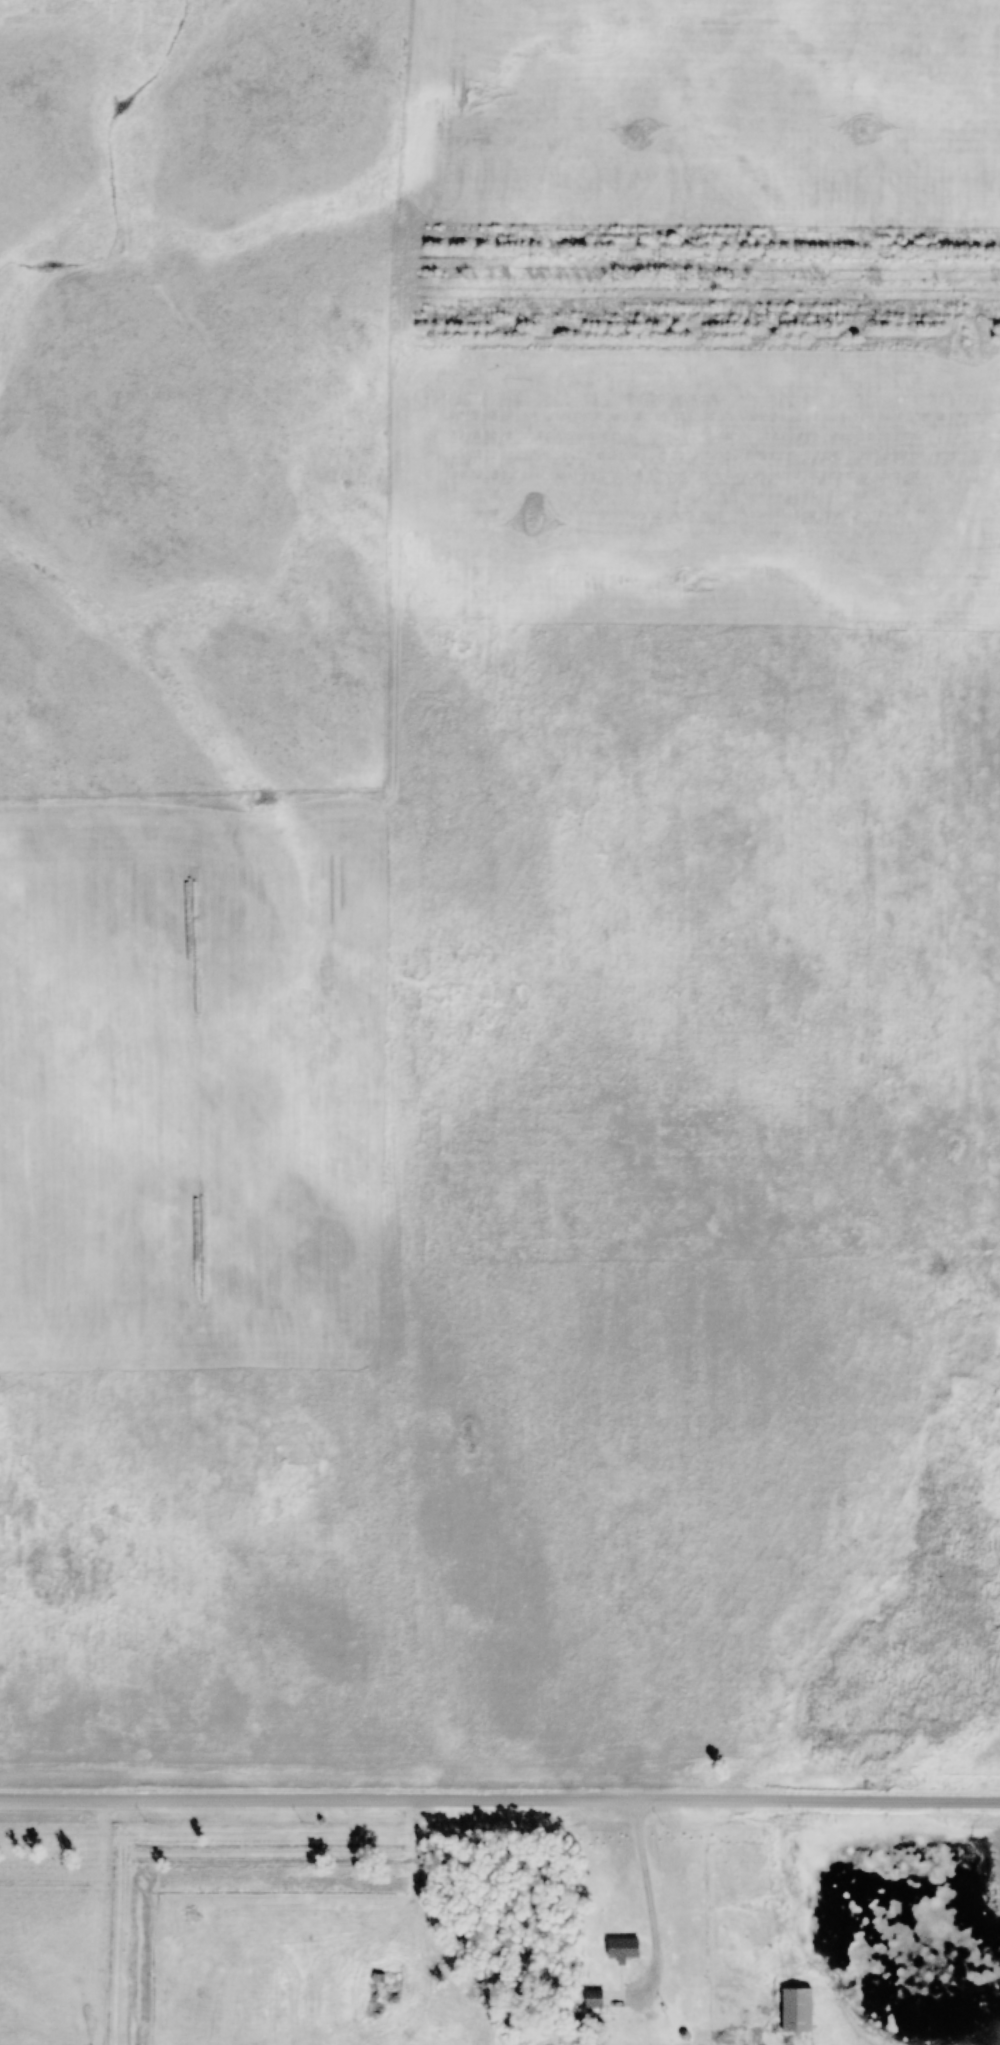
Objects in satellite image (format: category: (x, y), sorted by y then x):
road: (500, 1799)
road: (650, 1915)
building: (622, 1948)
building: (386, 1984)
building: (592, 1997)
building: (796, 2010)

